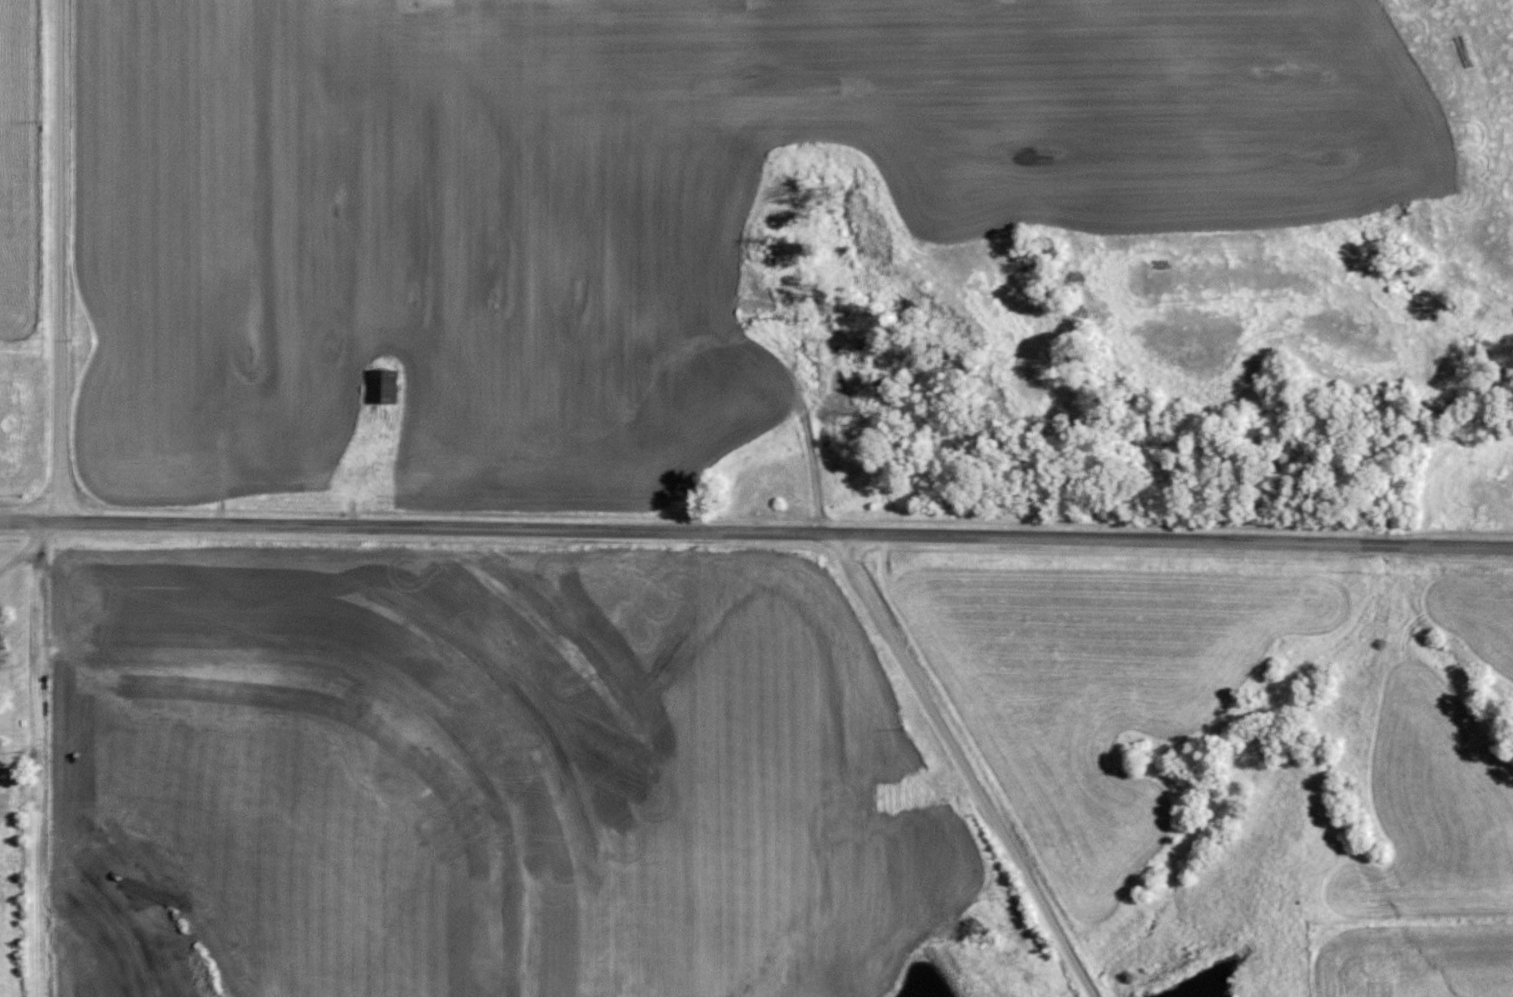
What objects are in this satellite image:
road: (58, 261)
road: (756, 532)
road: (36, 759)
road: (962, 765)

